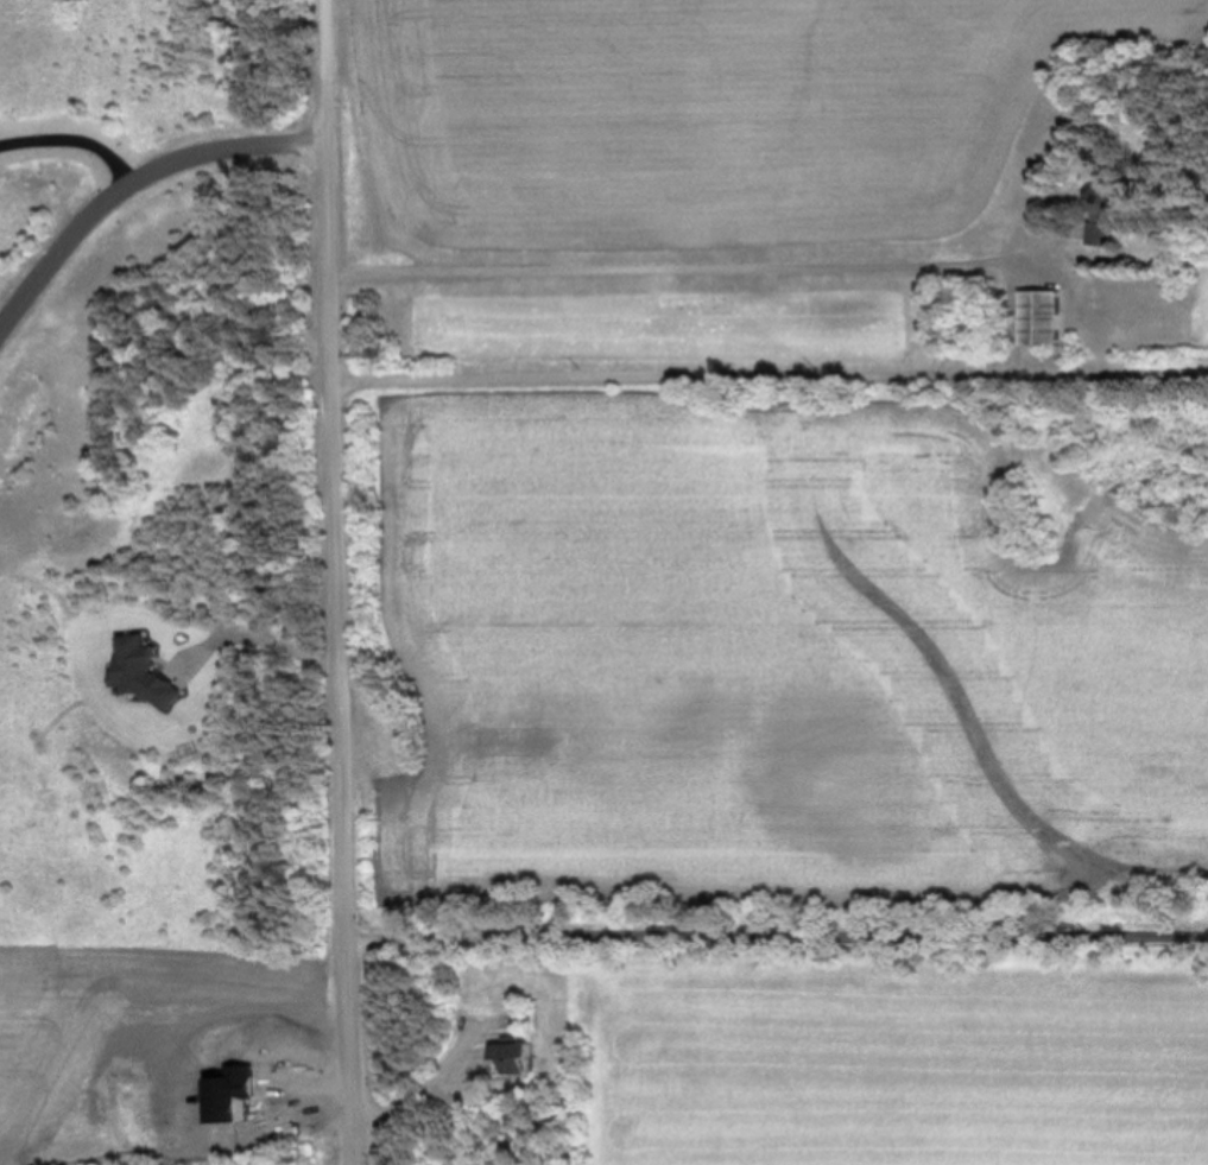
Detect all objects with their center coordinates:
road: (71, 143)
road: (129, 177)
building: (1102, 202)
building: (1099, 235)
road: (702, 268)
building: (1041, 317)
road: (771, 376)
road: (339, 582)
road: (263, 639)
road: (779, 930)
road: (451, 1053)
building: (513, 1055)

